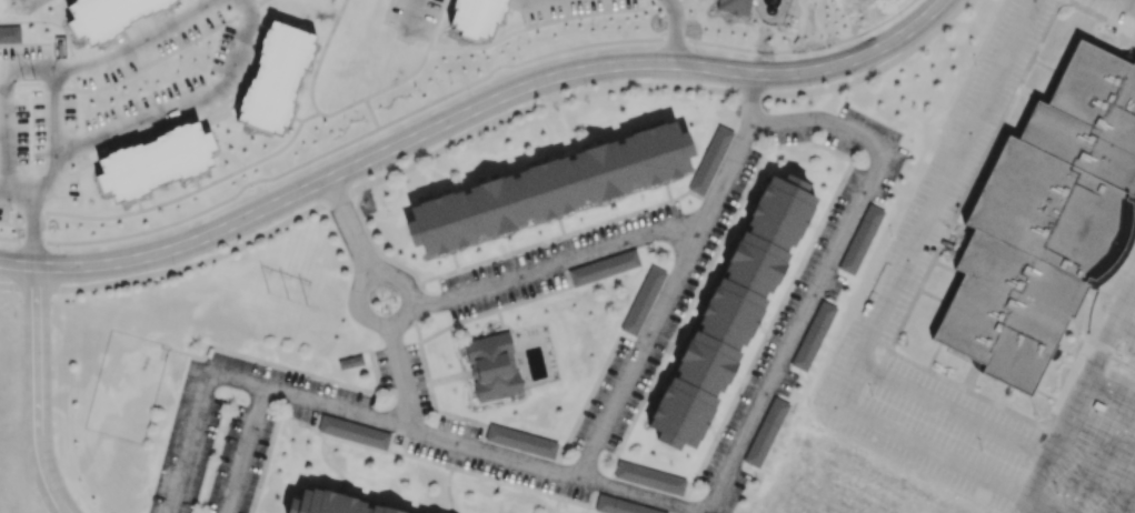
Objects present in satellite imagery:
road: (1131, 1)
building: (735, 6)
parking lot: (1113, 10)
building: (476, 14)
building: (106, 16)
road: (409, 19)
road: (49, 21)
building: (9, 32)
road: (678, 32)
road: (9, 33)
road: (132, 40)
power tower: (34, 78)
building: (277, 78)
road: (52, 95)
road: (449, 98)
road: (750, 99)
road: (181, 103)
road: (469, 111)
road: (499, 115)
road: (825, 120)
parking lot: (968, 129)
road: (3, 150)
building: (709, 159)
building: (160, 160)
road: (241, 167)
building: (547, 187)
road: (16, 194)
road: (737, 207)
road: (33, 218)
road: (347, 225)
building: (1047, 227)
building: (860, 239)
road: (376, 247)
road: (557, 264)
building: (606, 268)
road: (18, 289)
power tower: (298, 292)
road: (419, 296)
building: (643, 300)
road: (885, 305)
parking lot: (475, 306)
road: (495, 309)
road: (416, 312)
building: (736, 314)
road: (396, 320)
road: (1096, 320)
road: (500, 323)
building: (814, 336)
road: (518, 360)
building: (349, 361)
road: (270, 362)
building: (492, 368)
road: (497, 374)
road: (399, 376)
road: (491, 385)
road: (402, 386)
road: (37, 391)
road: (1079, 395)
road: (489, 401)
road: (436, 409)
road: (952, 411)
road: (197, 418)
building: (355, 431)
building: (765, 432)
building: (522, 442)
road: (270, 445)
road: (368, 447)
road: (321, 449)
road: (474, 449)
road: (239, 450)
road: (451, 465)
building: (649, 477)
road: (559, 494)
building: (328, 504)
building: (620, 505)
road: (676, 511)

